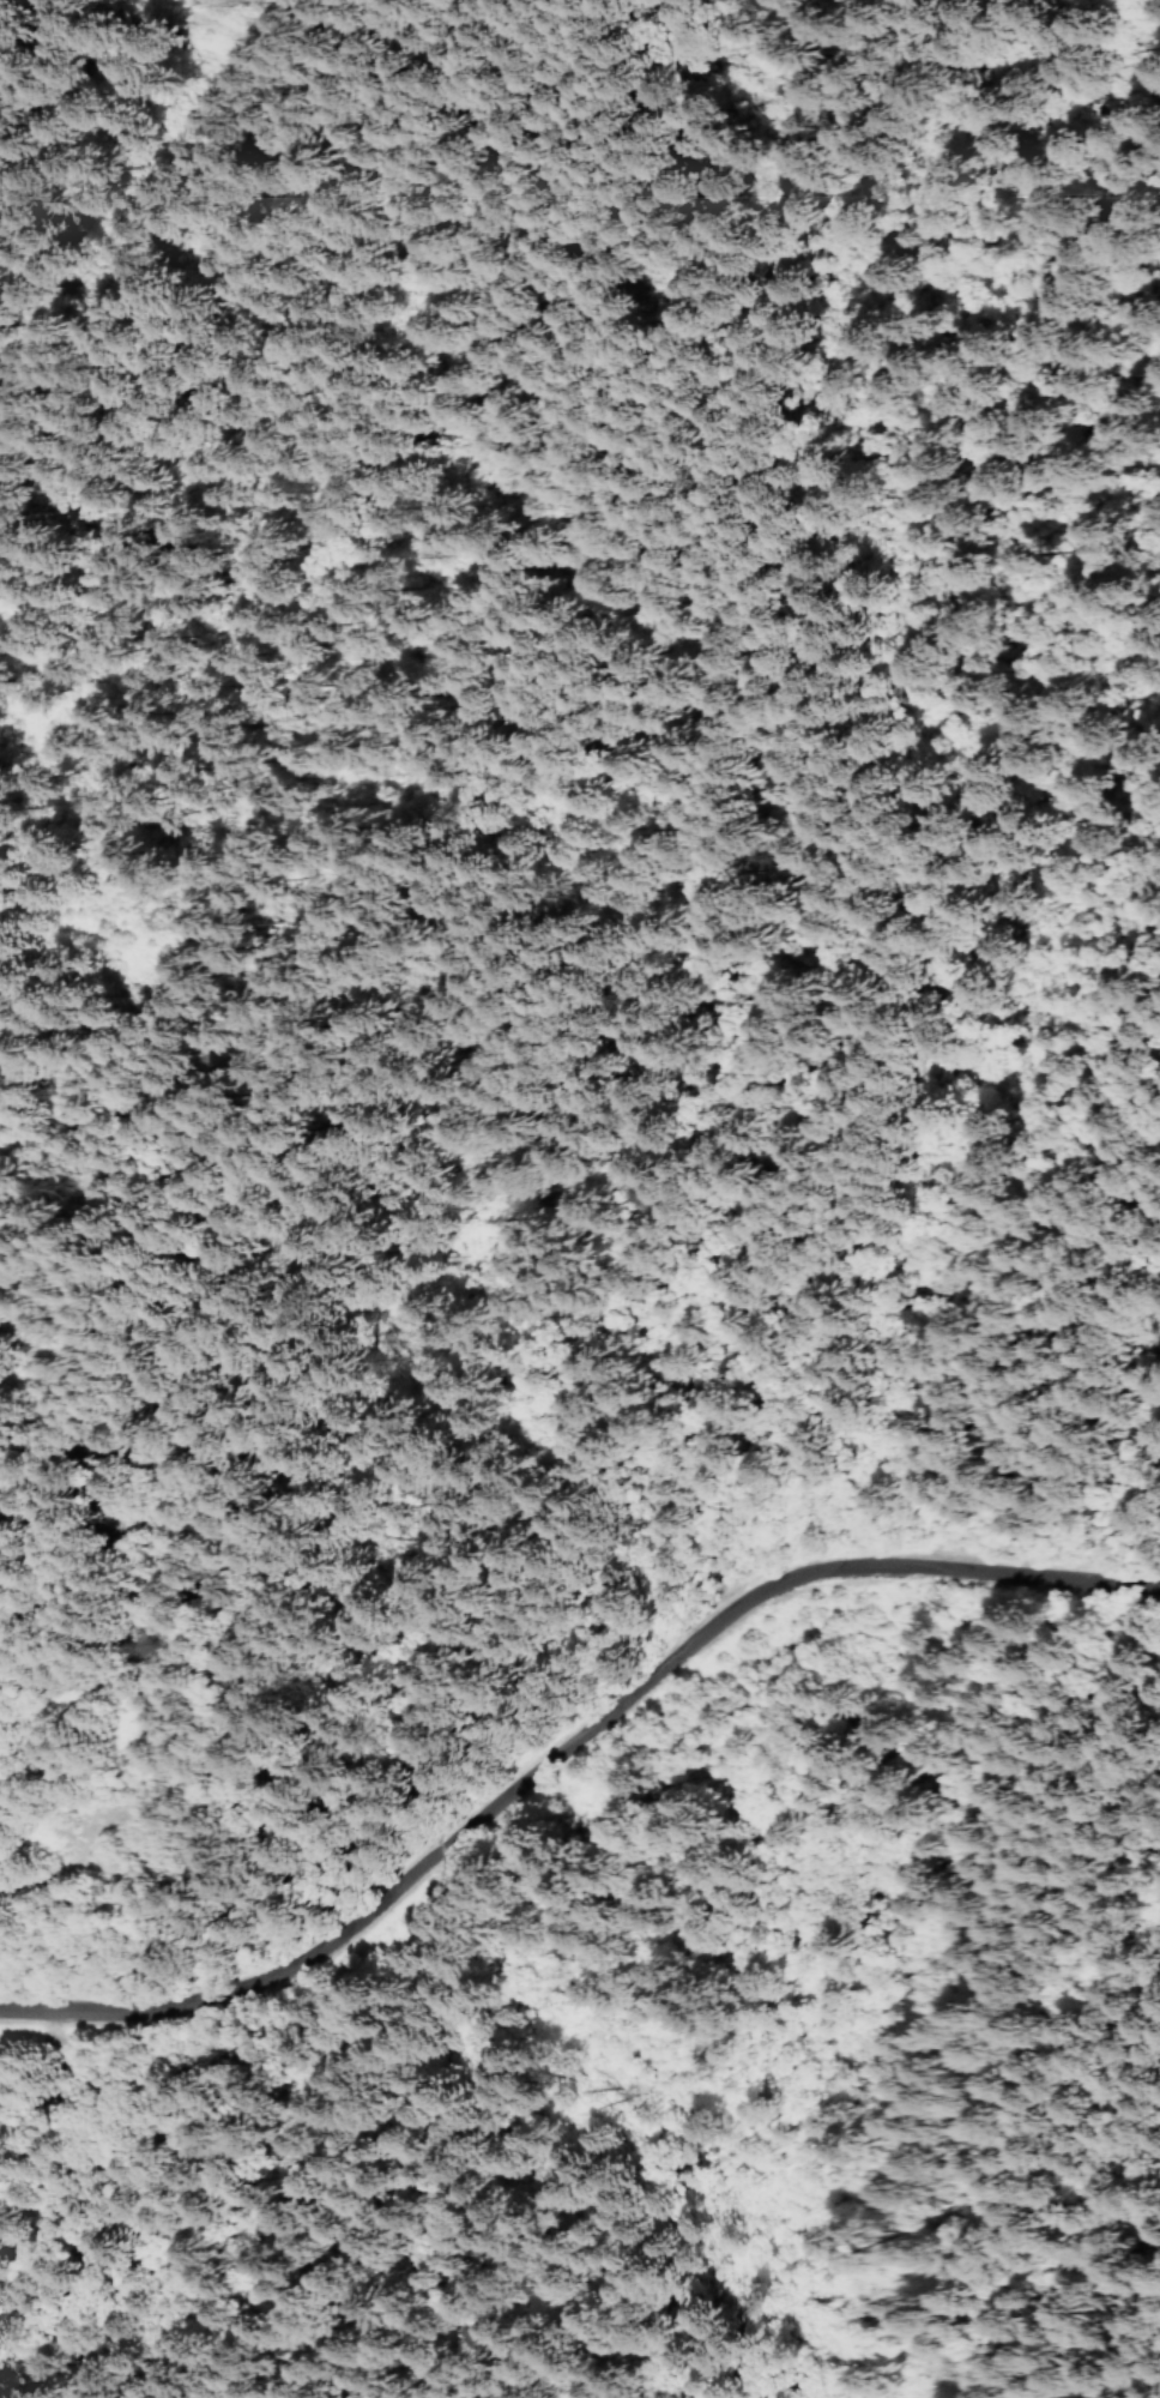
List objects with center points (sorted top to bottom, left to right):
road: (575, 1739)
road: (30, 1942)
park: (40, 2126)

